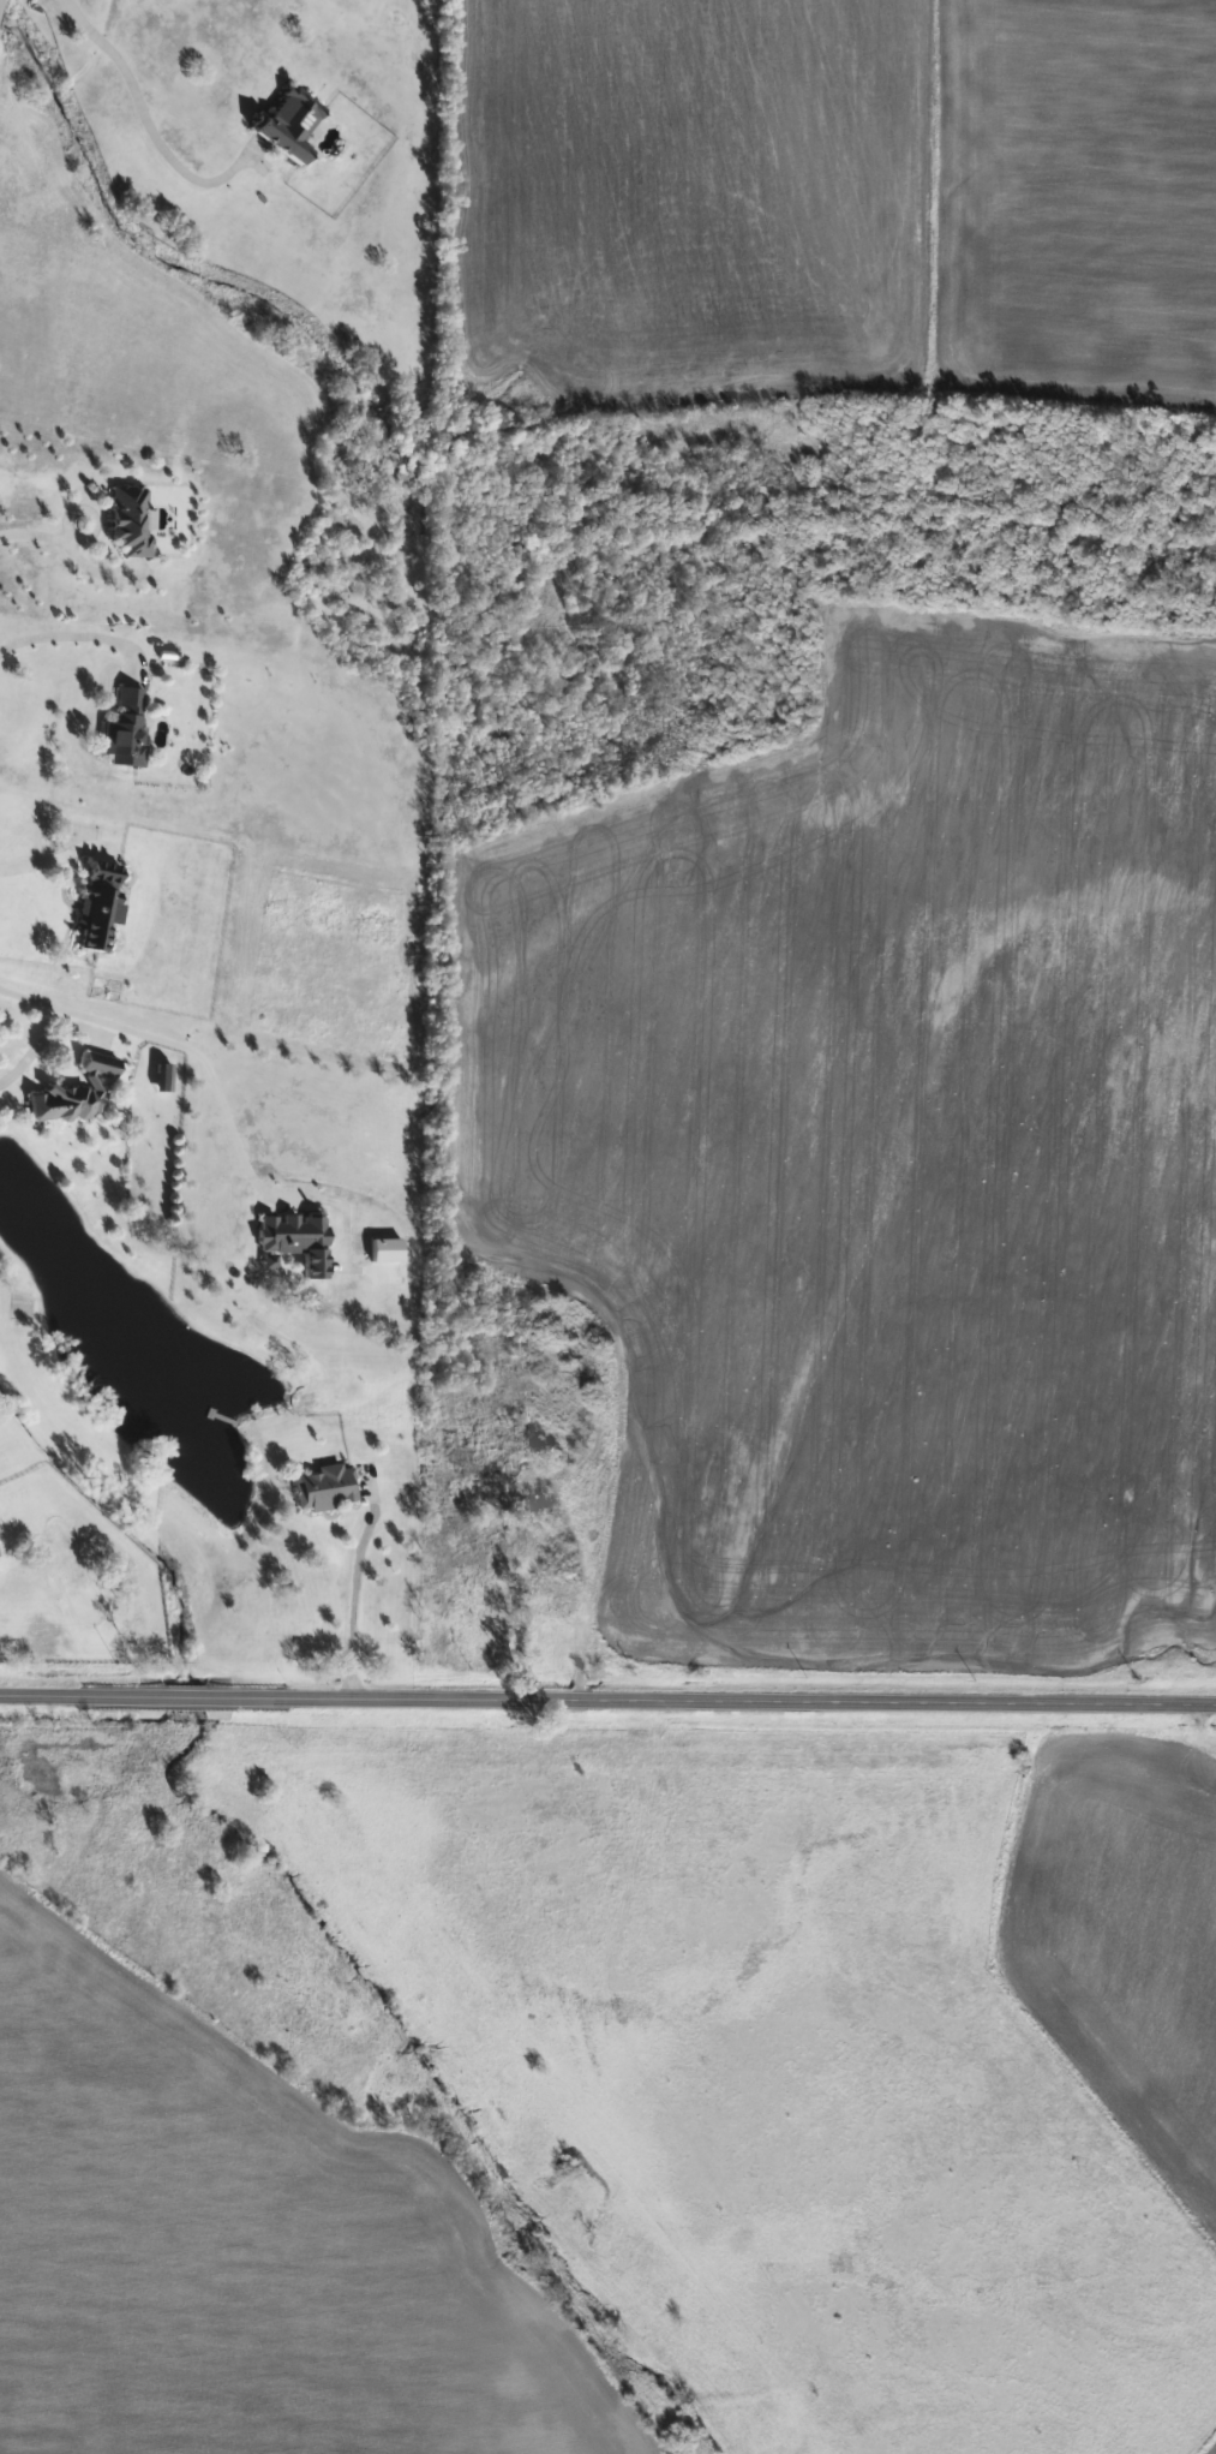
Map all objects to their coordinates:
road: (136, 109)
building: (287, 124)
building: (127, 519)
road: (66, 549)
road: (65, 631)
building: (124, 728)
road: (49, 856)
road: (43, 1038)
building: (161, 1075)
road: (198, 1079)
building: (72, 1092)
crop: (876, 1160)
building: (323, 1487)
road: (354, 1593)
road: (607, 1698)

